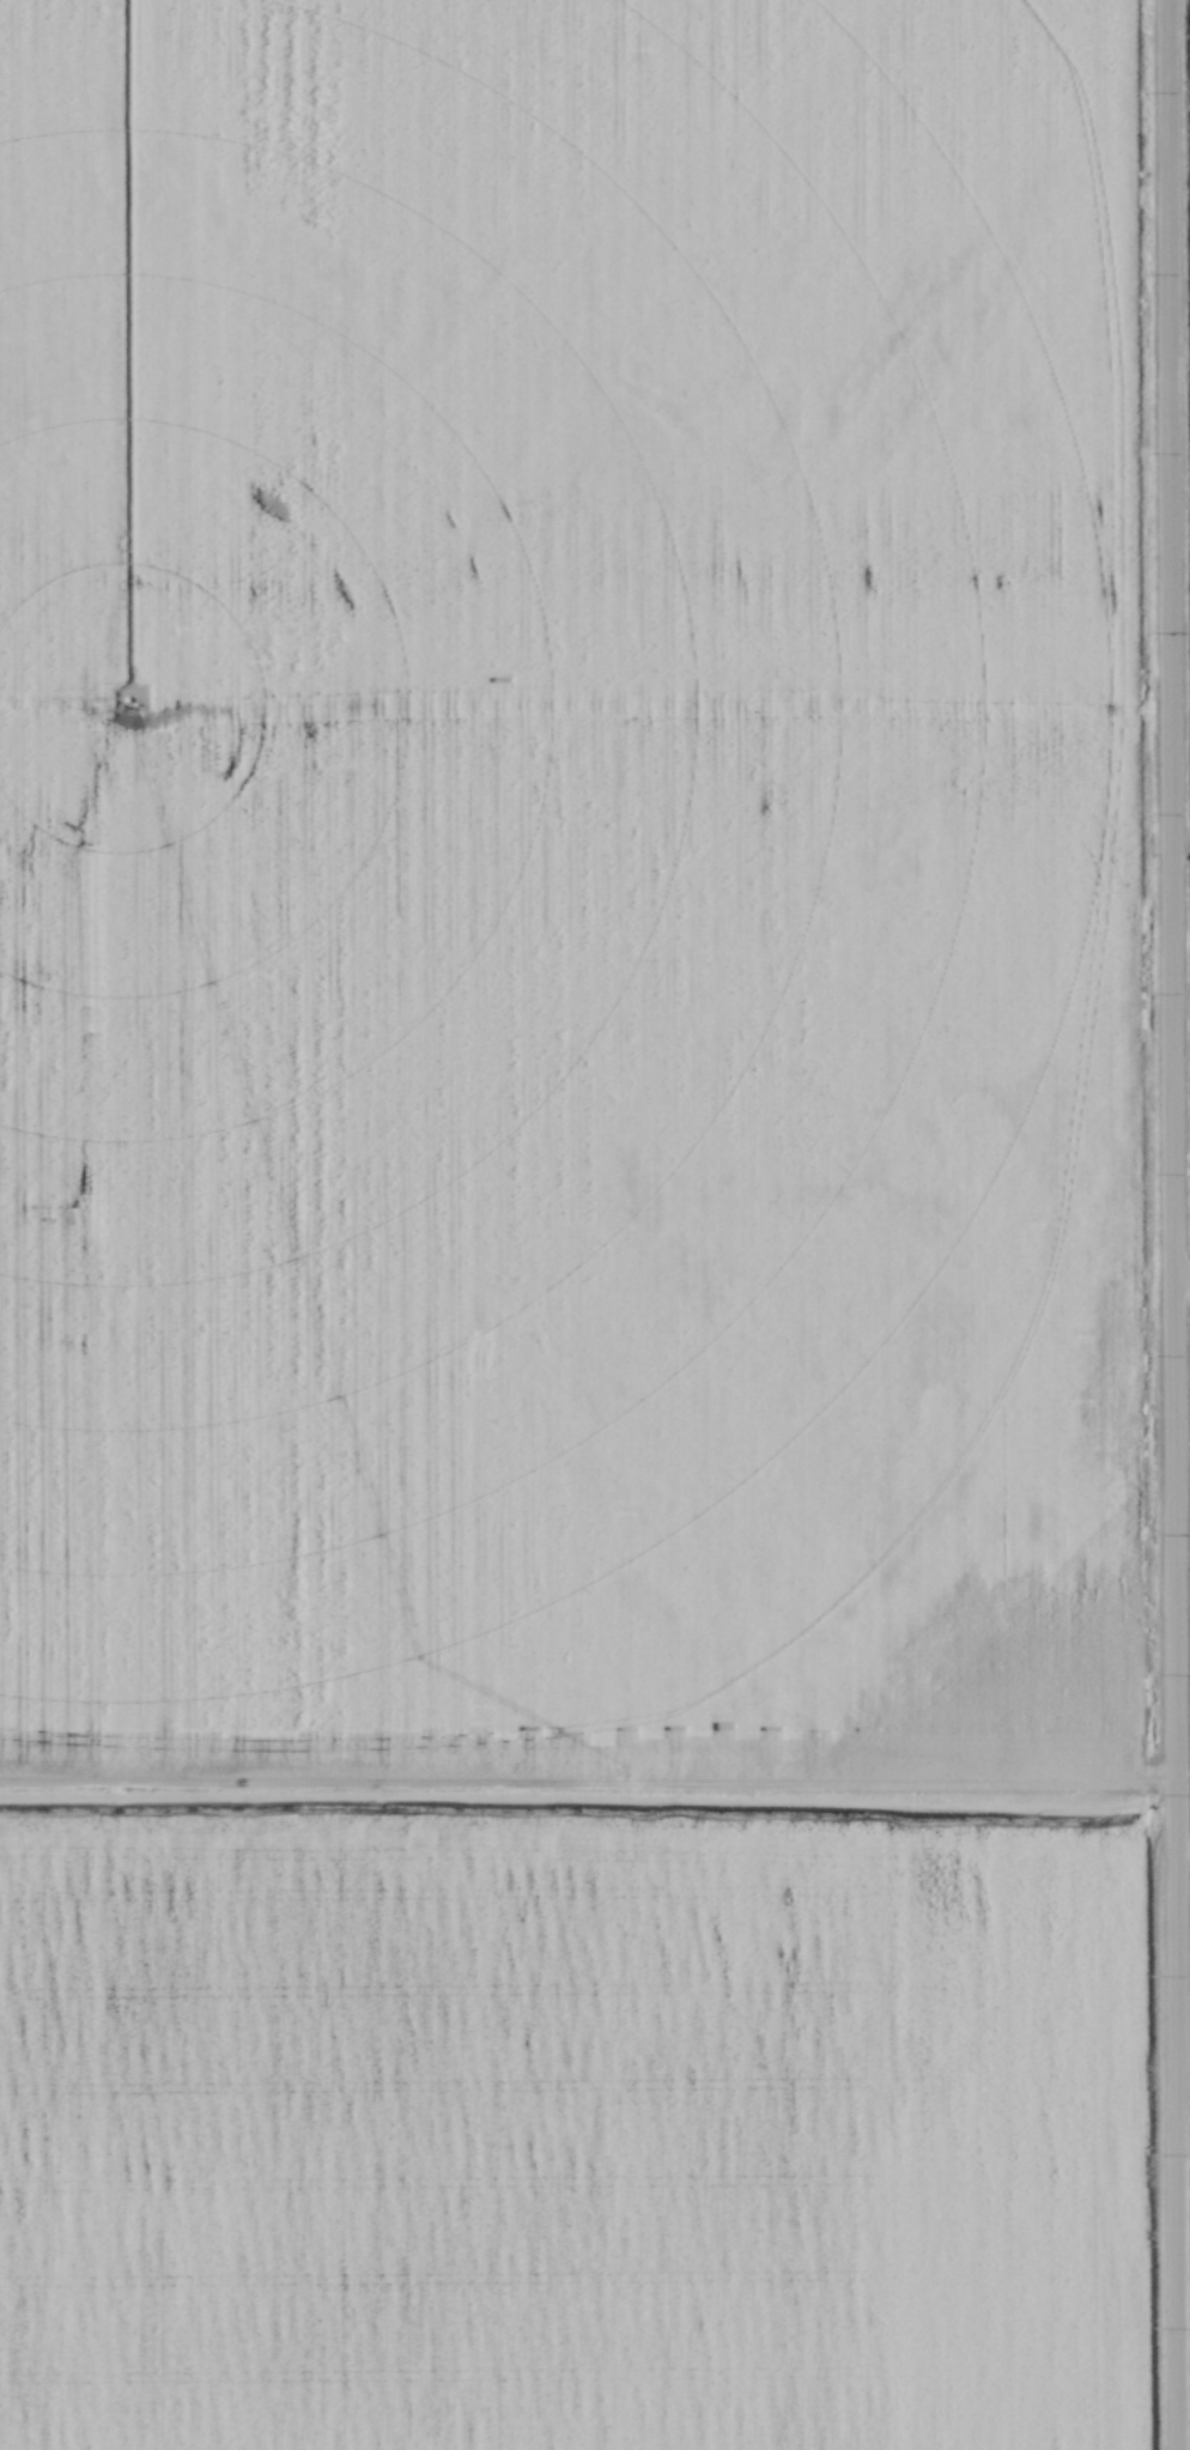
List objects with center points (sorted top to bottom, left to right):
road: (1167, 1225)

